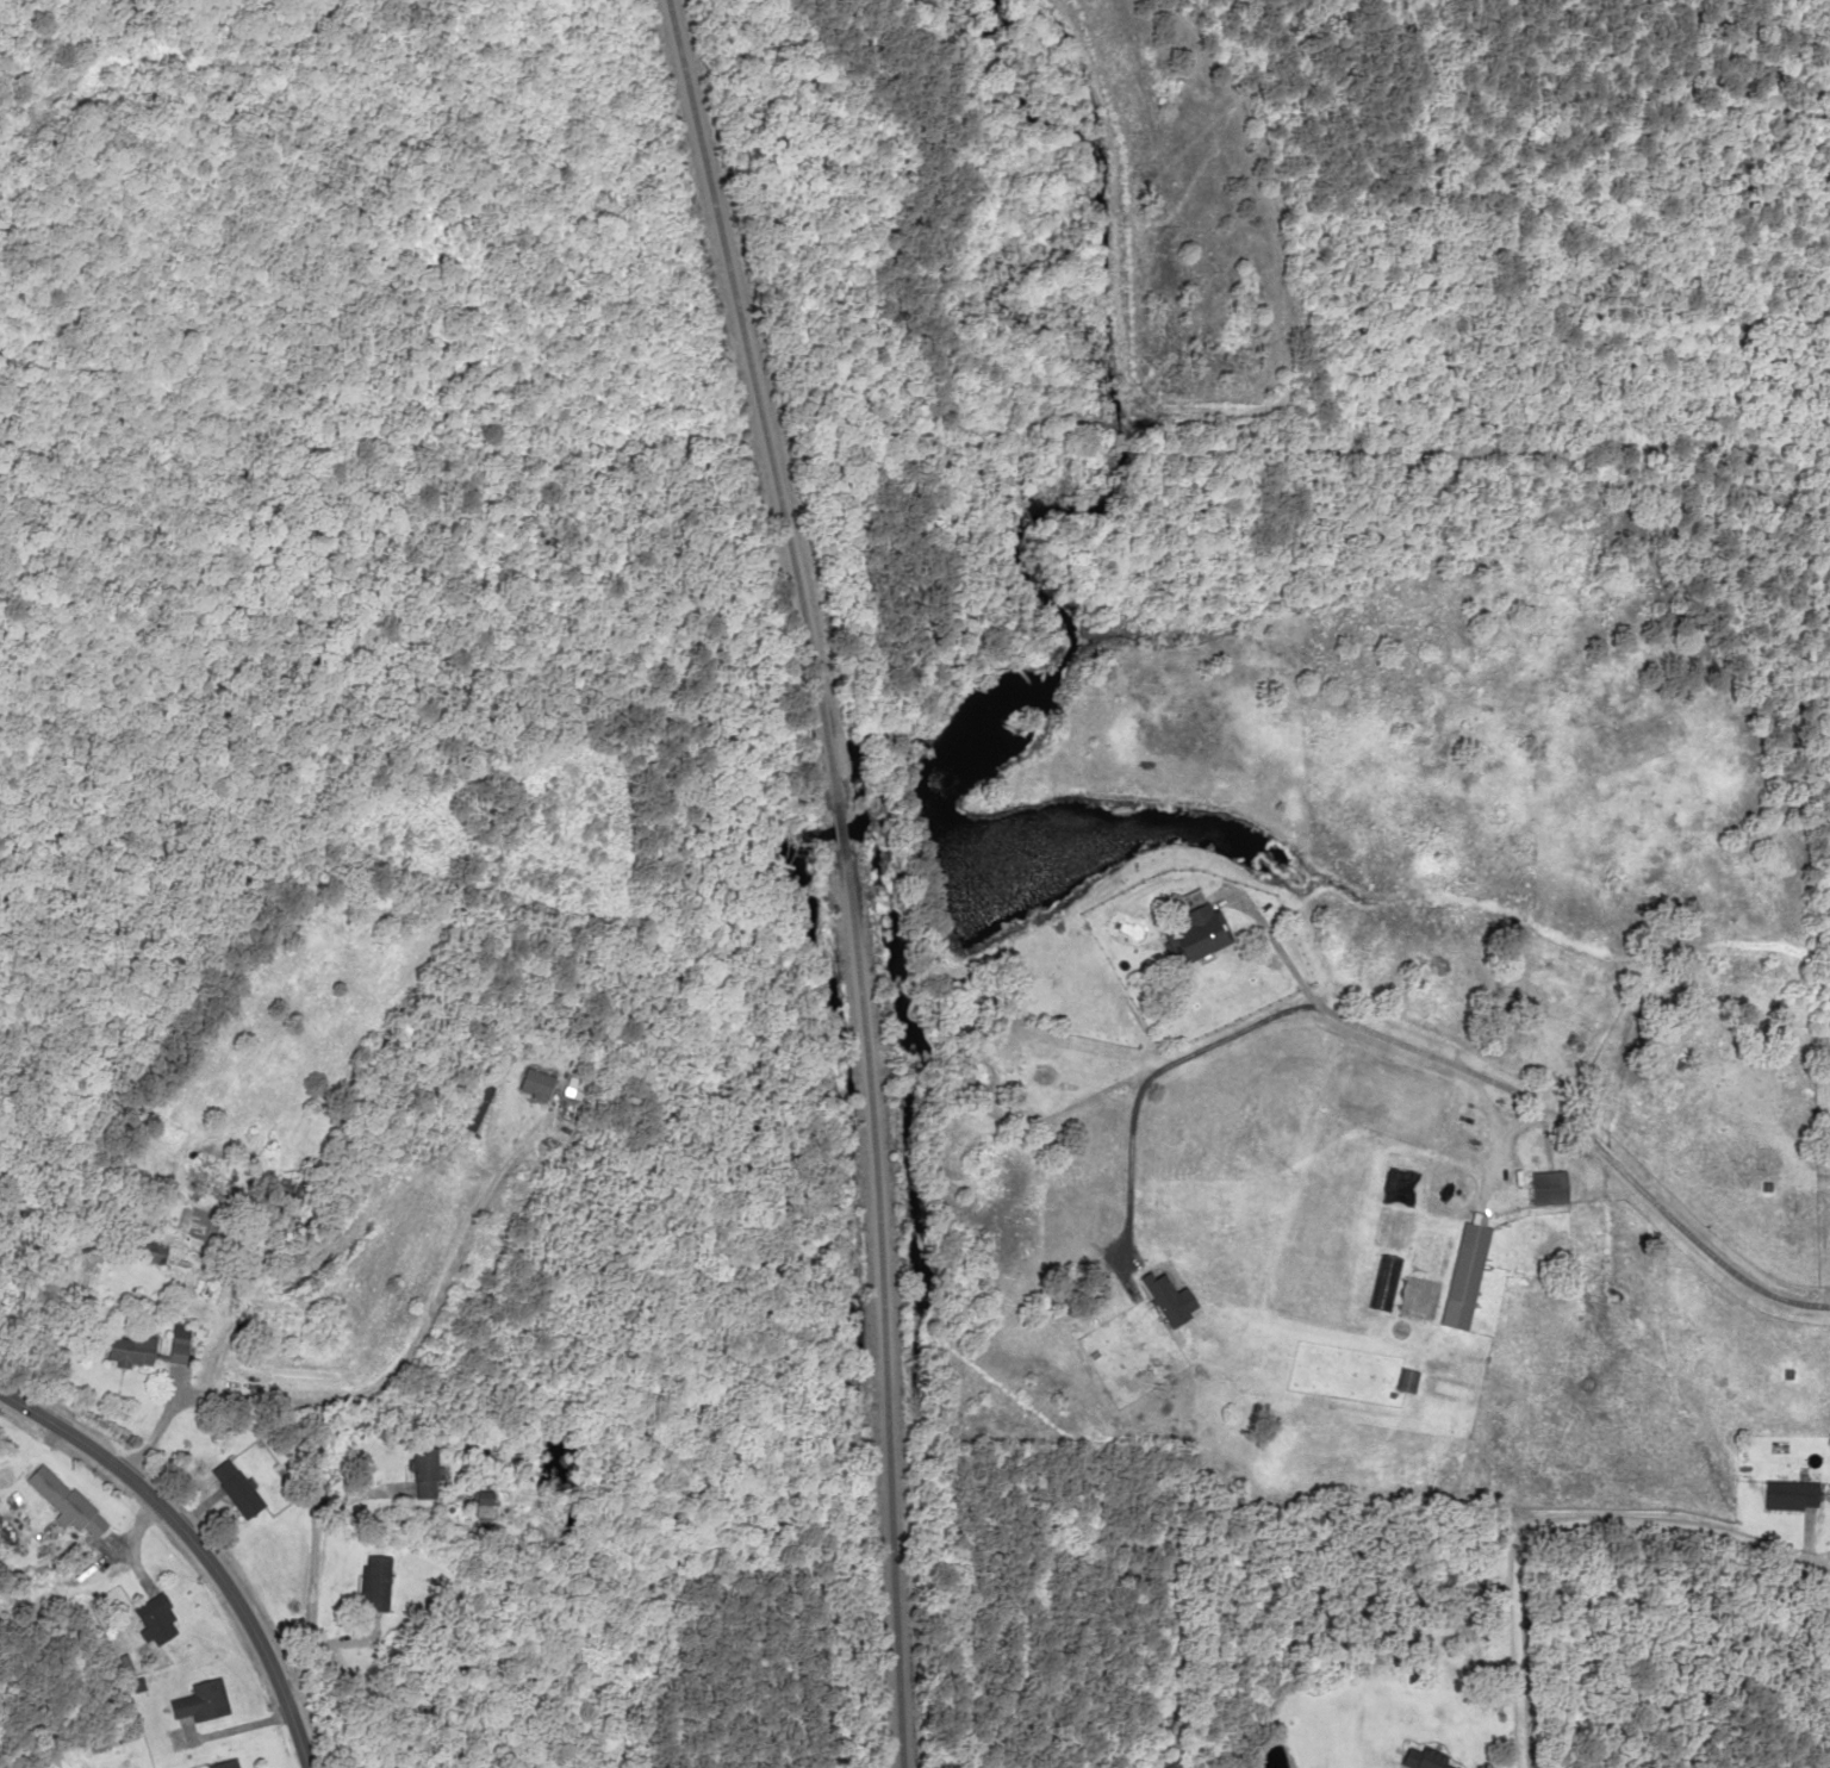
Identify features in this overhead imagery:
railway: (740, 372)
railway: (835, 797)
building: (1194, 933)
building: (535, 1084)
building: (480, 1108)
building: (1548, 1188)
building: (275, 1195)
building: (151, 1250)
building: (1464, 1274)
road: (1828, 1275)
railway: (883, 1308)
building: (176, 1344)
building: (127, 1350)
building: (1406, 1381)
building: (427, 1474)
building: (238, 1489)
building: (1789, 1494)
building: (69, 1496)
building: (484, 1496)
road: (1561, 1518)
road: (192, 1545)
building: (381, 1582)
building: (150, 1606)
road: (337, 1624)
building: (160, 1625)
river: (461, 1691)
building: (208, 1699)
building: (1424, 1758)
building: (223, 1763)

